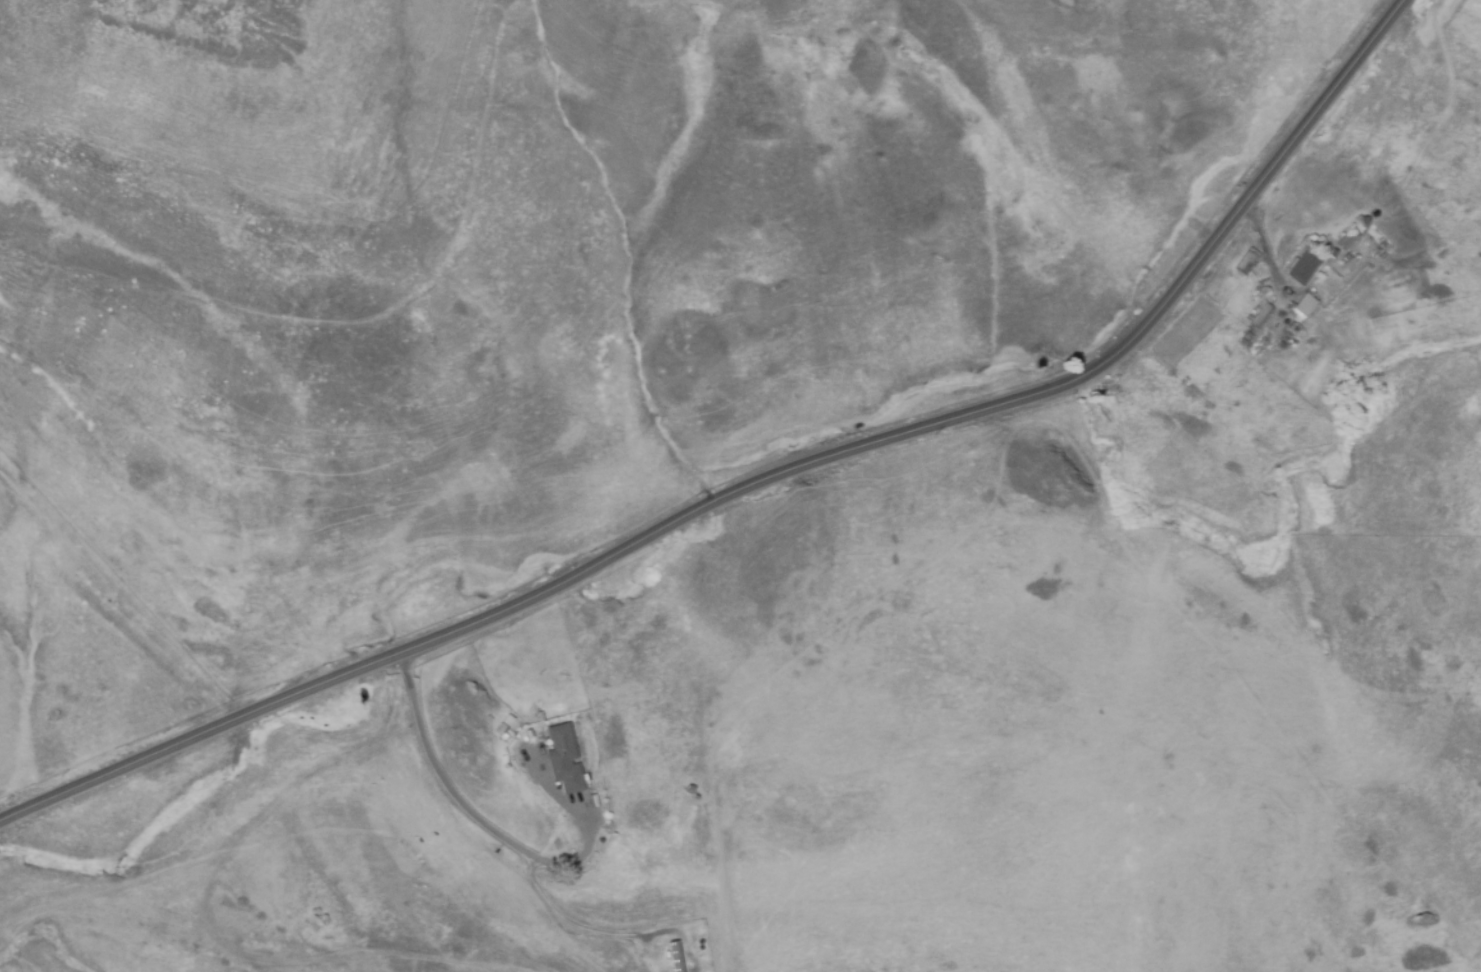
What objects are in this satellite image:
building: (1347, 240)
road: (1263, 241)
building: (1324, 248)
building: (1328, 258)
building: (1246, 262)
building: (1303, 268)
building: (1329, 275)
building: (1301, 309)
building: (1262, 317)
road: (758, 480)
building: (563, 765)
road: (499, 833)
road: (582, 927)
building: (674, 956)

